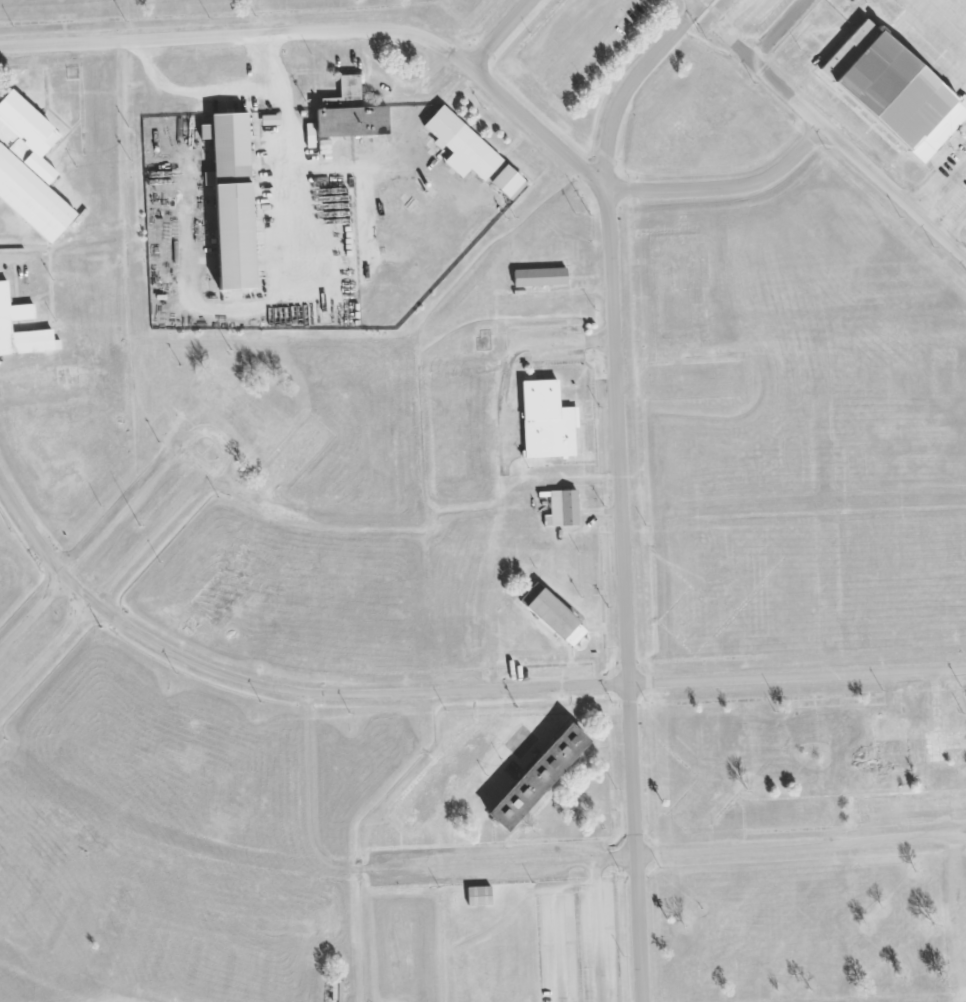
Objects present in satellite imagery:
airport apron: (964, 1)
road: (695, 3)
road: (332, 25)
road: (731, 31)
road: (500, 35)
airport: (877, 80)
road: (632, 82)
airport hangar: (895, 91)
building: (895, 91)
building: (350, 114)
road: (830, 131)
building: (460, 145)
building: (28, 168)
road: (726, 187)
road: (942, 187)
building: (228, 199)
road: (954, 223)
building: (538, 277)
building: (17, 312)
building: (546, 421)
road: (225, 457)
road: (198, 461)
building: (562, 509)
road: (624, 594)
building: (552, 615)
road: (441, 693)
building: (554, 753)
road: (557, 857)
building: (478, 895)

